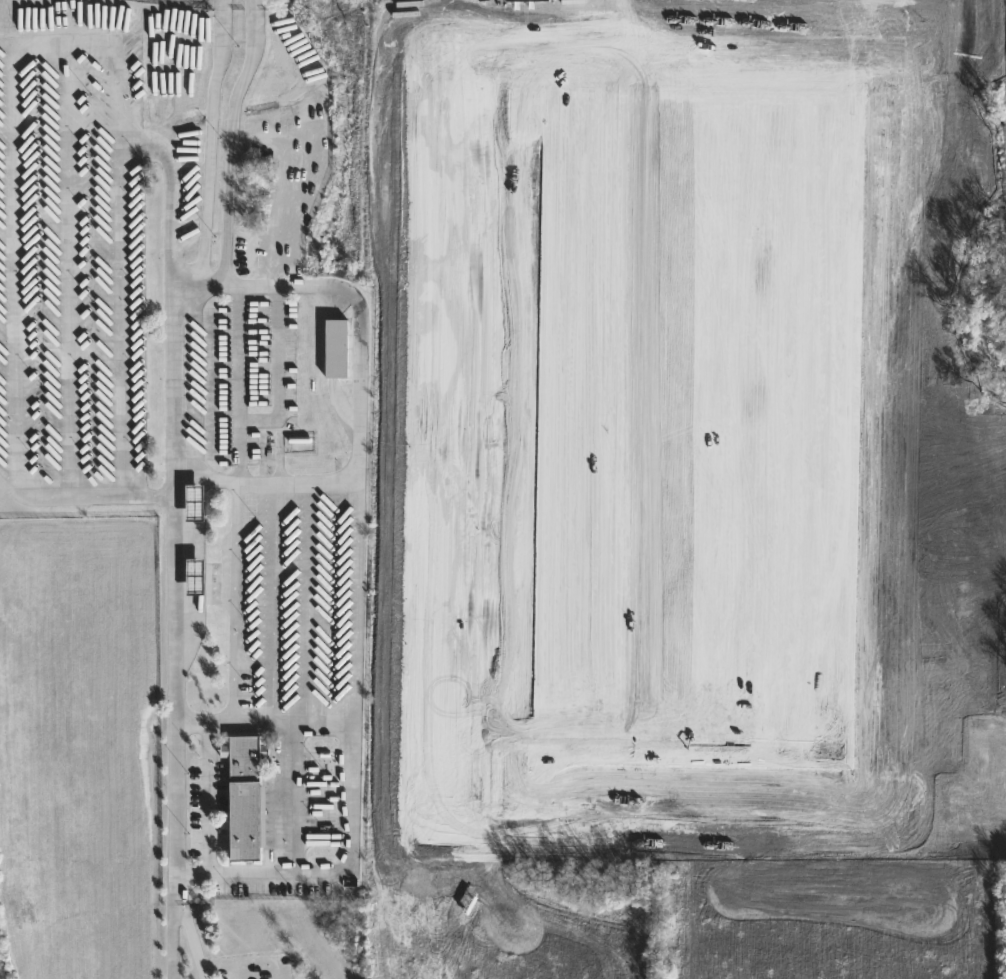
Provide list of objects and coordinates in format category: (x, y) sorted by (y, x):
road: (96, 39)
road: (65, 267)
road: (211, 284)
road: (353, 296)
road: (119, 318)
building: (336, 347)
road: (239, 383)
road: (172, 390)
road: (12, 455)
road: (265, 481)
building: (195, 502)
building: (196, 576)
road: (234, 601)
road: (273, 601)
road: (312, 601)
road: (356, 601)
road: (175, 699)
road: (264, 721)
building: (245, 796)
road: (287, 798)
road: (210, 799)
road: (336, 873)
road: (179, 906)

